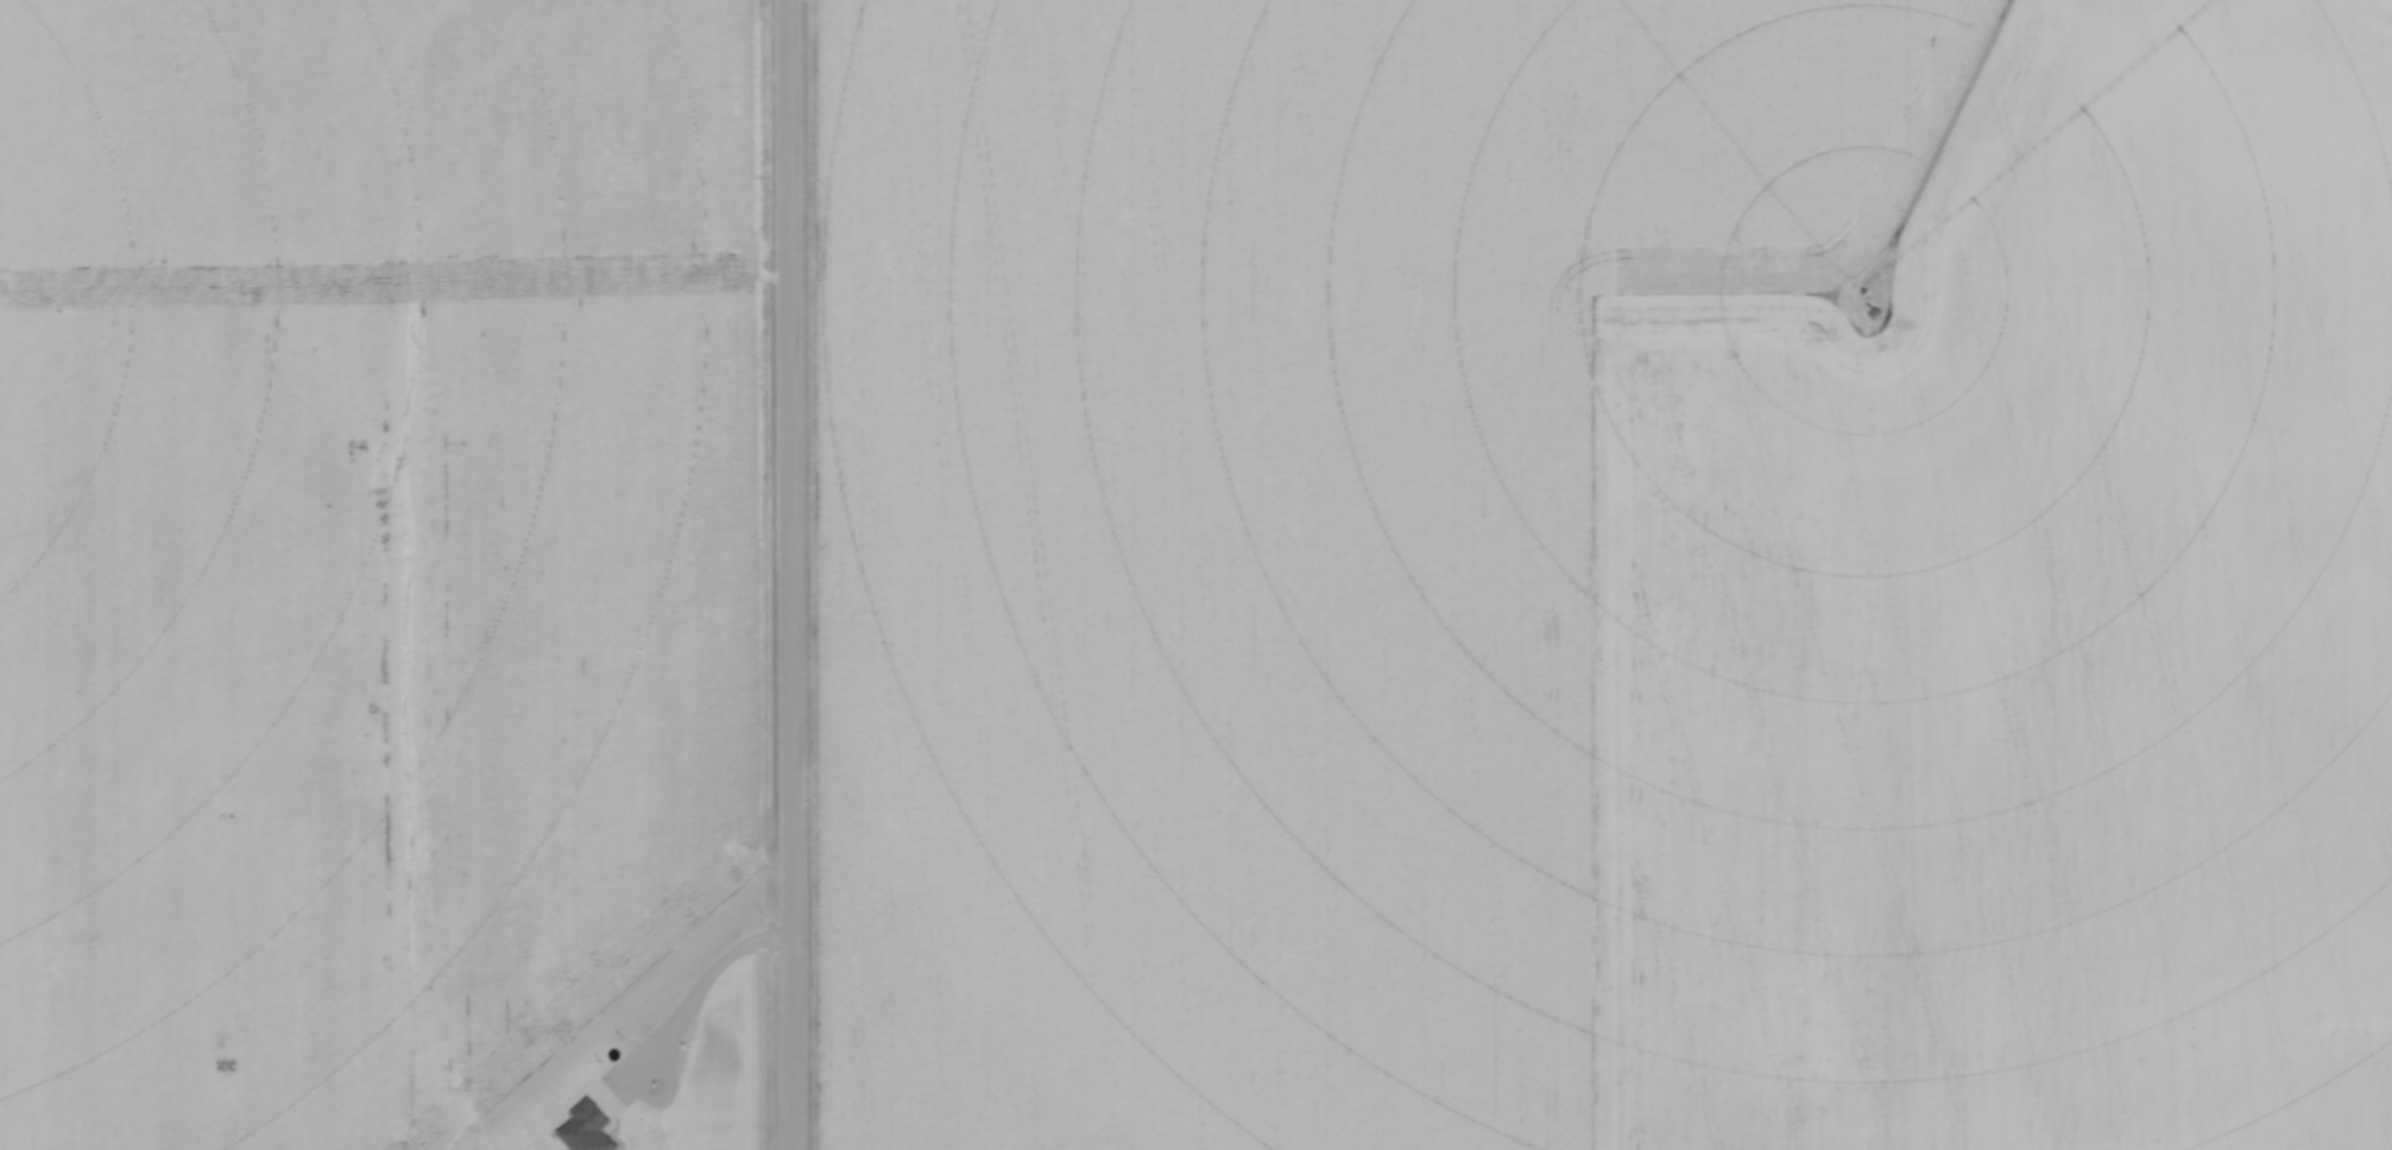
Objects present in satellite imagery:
road: (782, 575)

